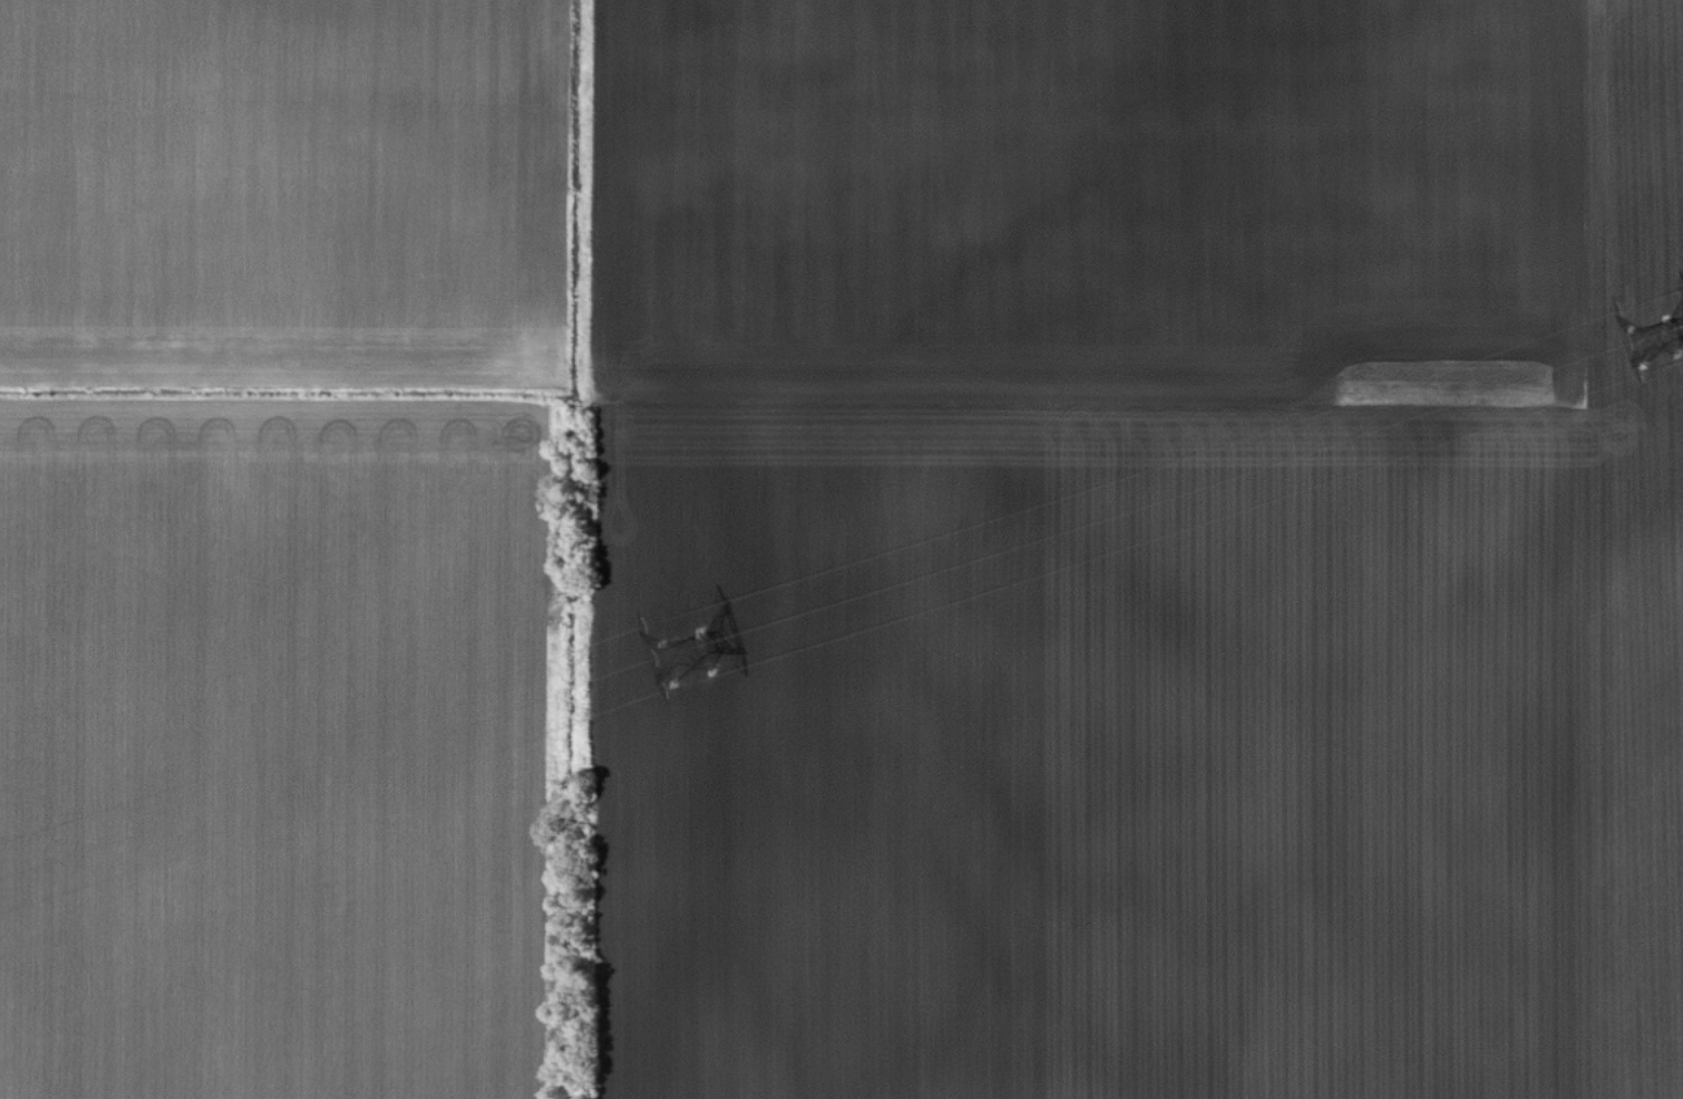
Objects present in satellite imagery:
power tower: (1665, 329)
power tower: (689, 653)

